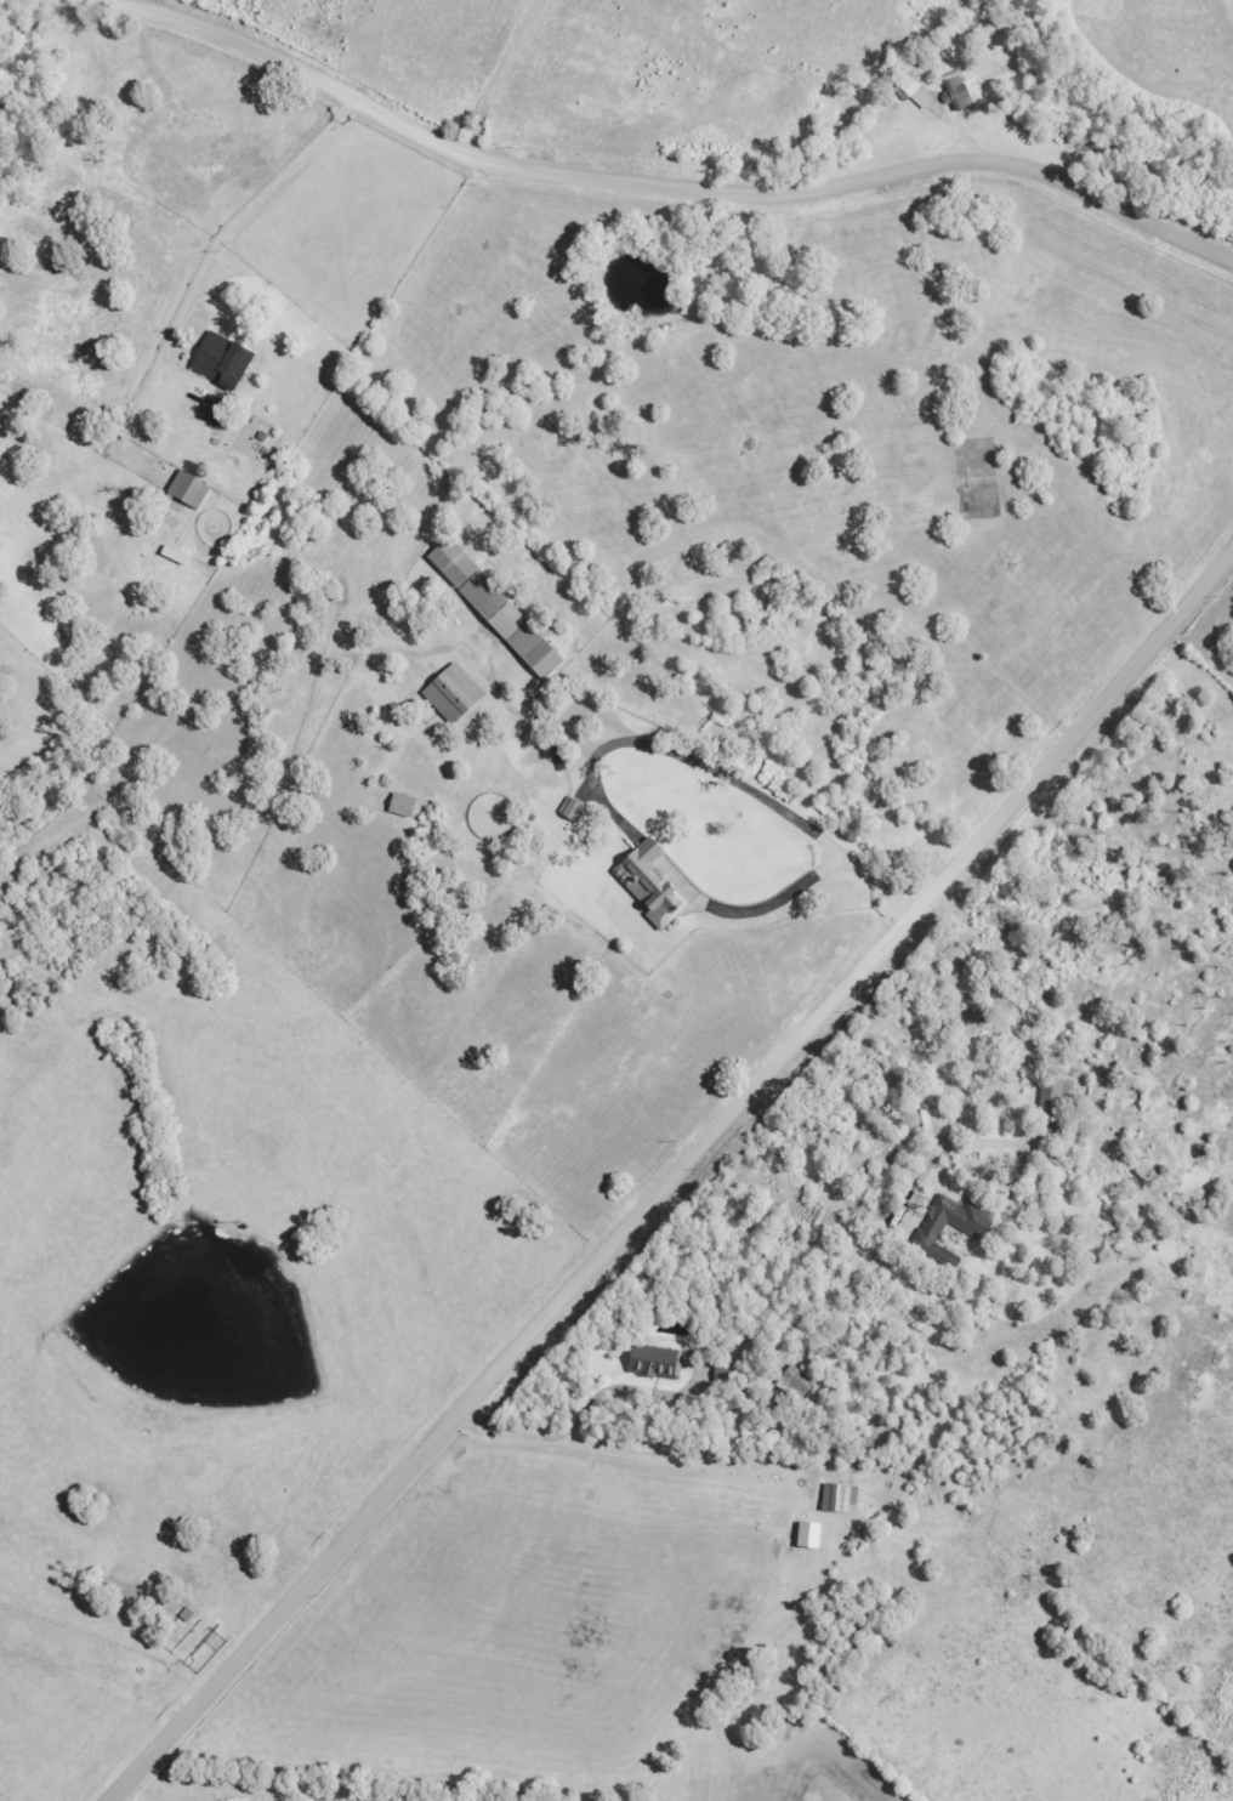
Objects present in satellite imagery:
road: (481, 67)
building: (916, 91)
road: (670, 183)
road: (252, 197)
building: (225, 359)
building: (218, 410)
building: (192, 489)
building: (500, 608)
building: (458, 693)
building: (405, 805)
building: (575, 808)
road: (674, 1178)
building: (658, 1362)
building: (818, 1535)

